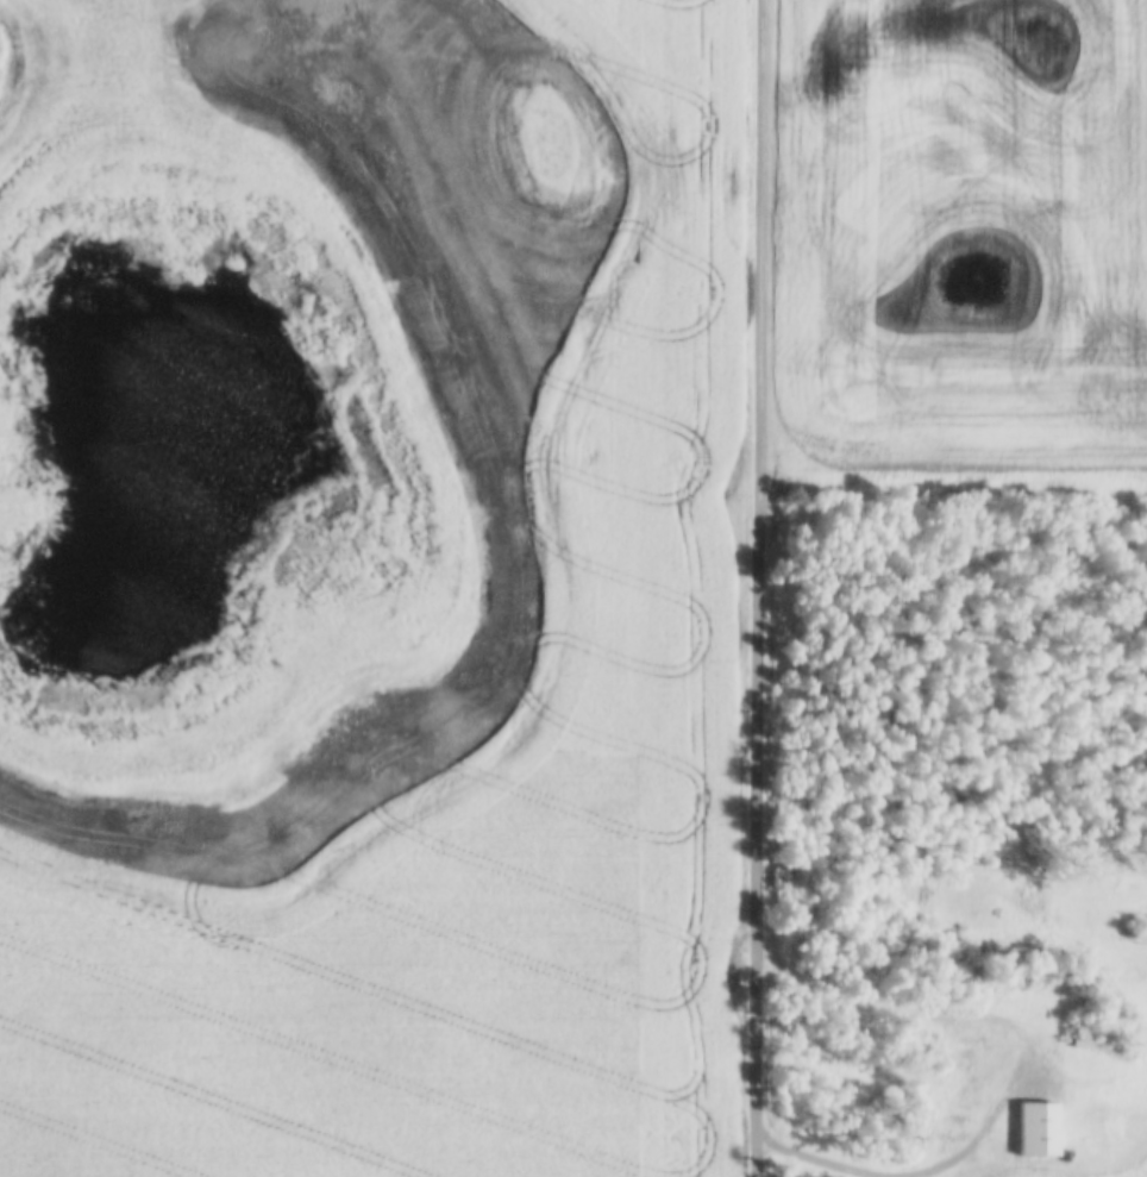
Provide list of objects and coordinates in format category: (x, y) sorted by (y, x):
road: (757, 588)
road: (1017, 1068)
building: (1041, 1131)

